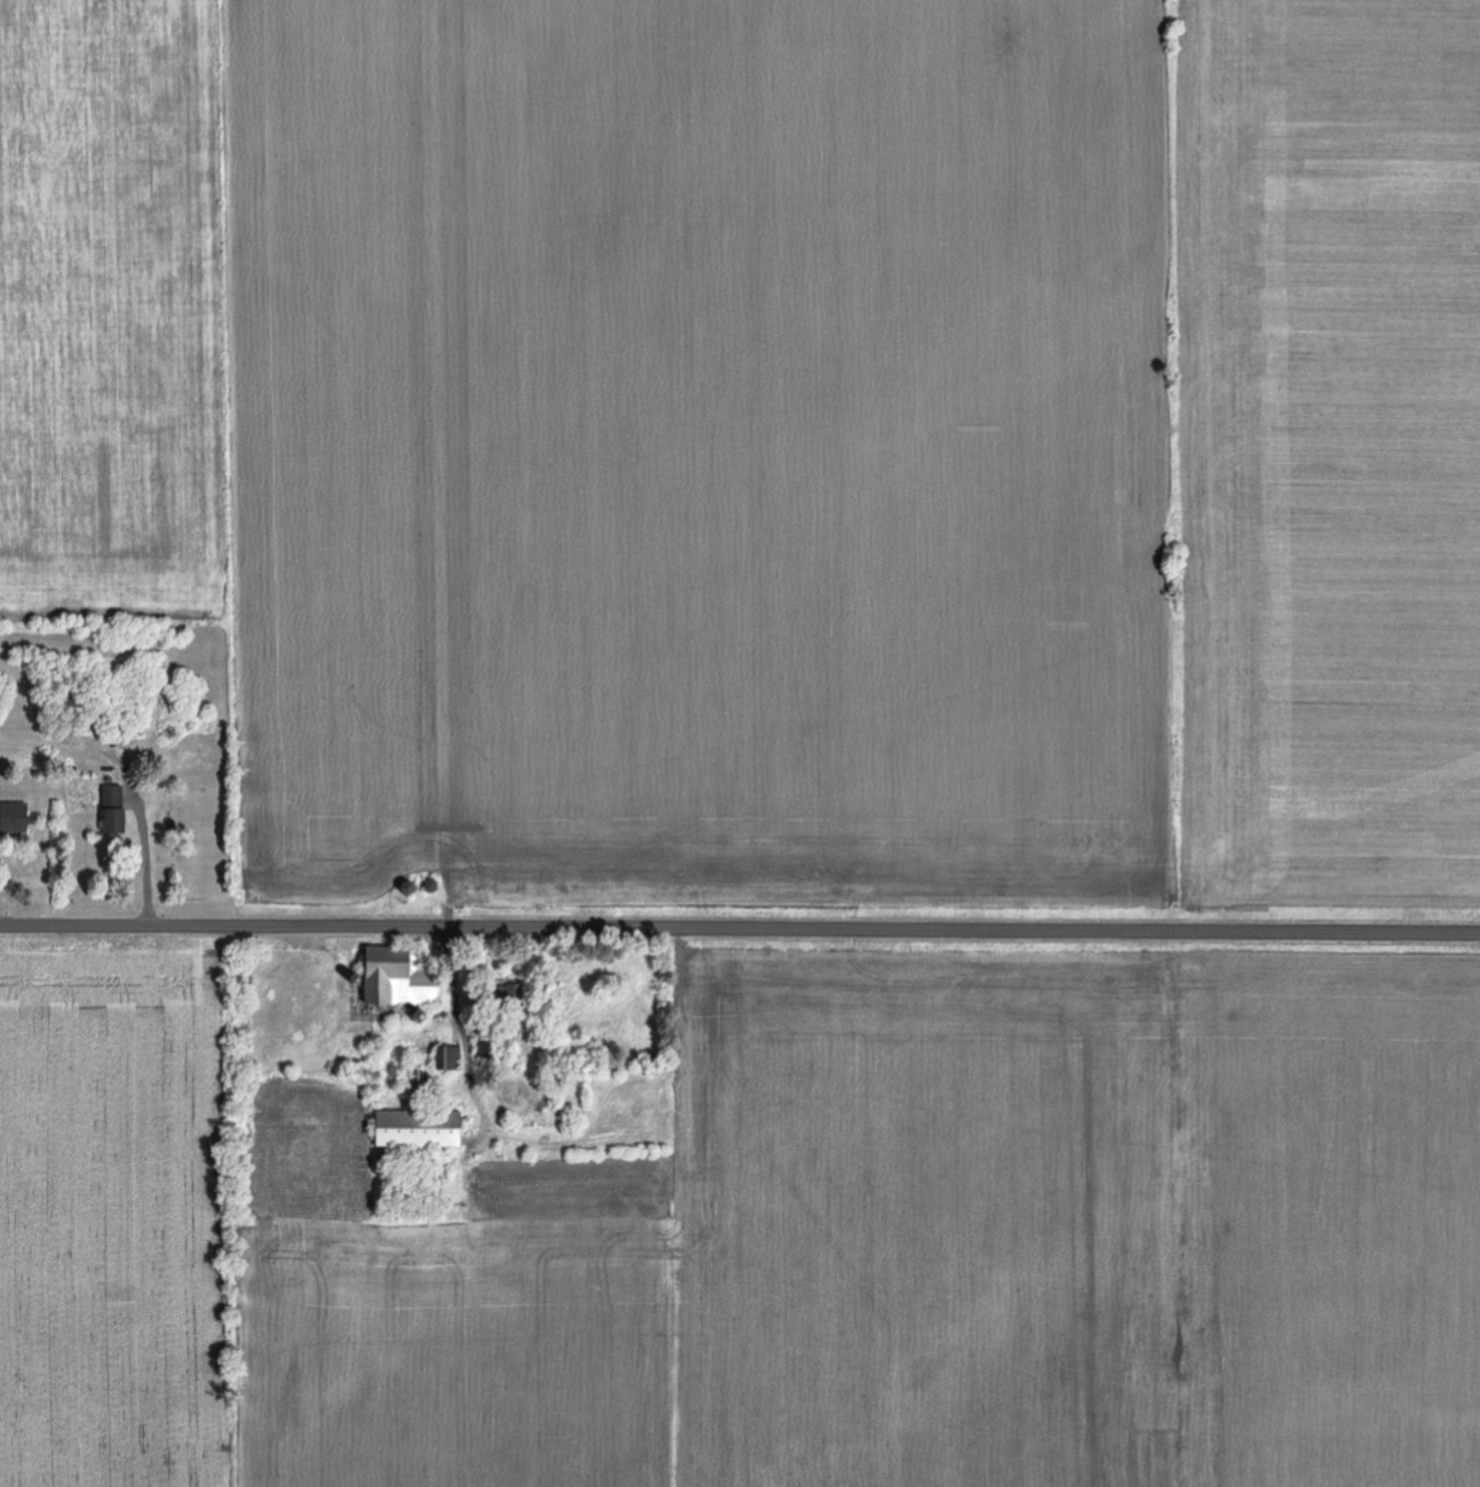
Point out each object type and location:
crop: (774, 439)
building: (71, 709)
building: (114, 793)
building: (14, 816)
building: (116, 821)
building: (432, 886)
road: (740, 920)
building: (402, 978)
building: (508, 996)
building: (484, 1049)
building: (450, 1058)
building: (420, 1129)
crop: (771, 1230)

